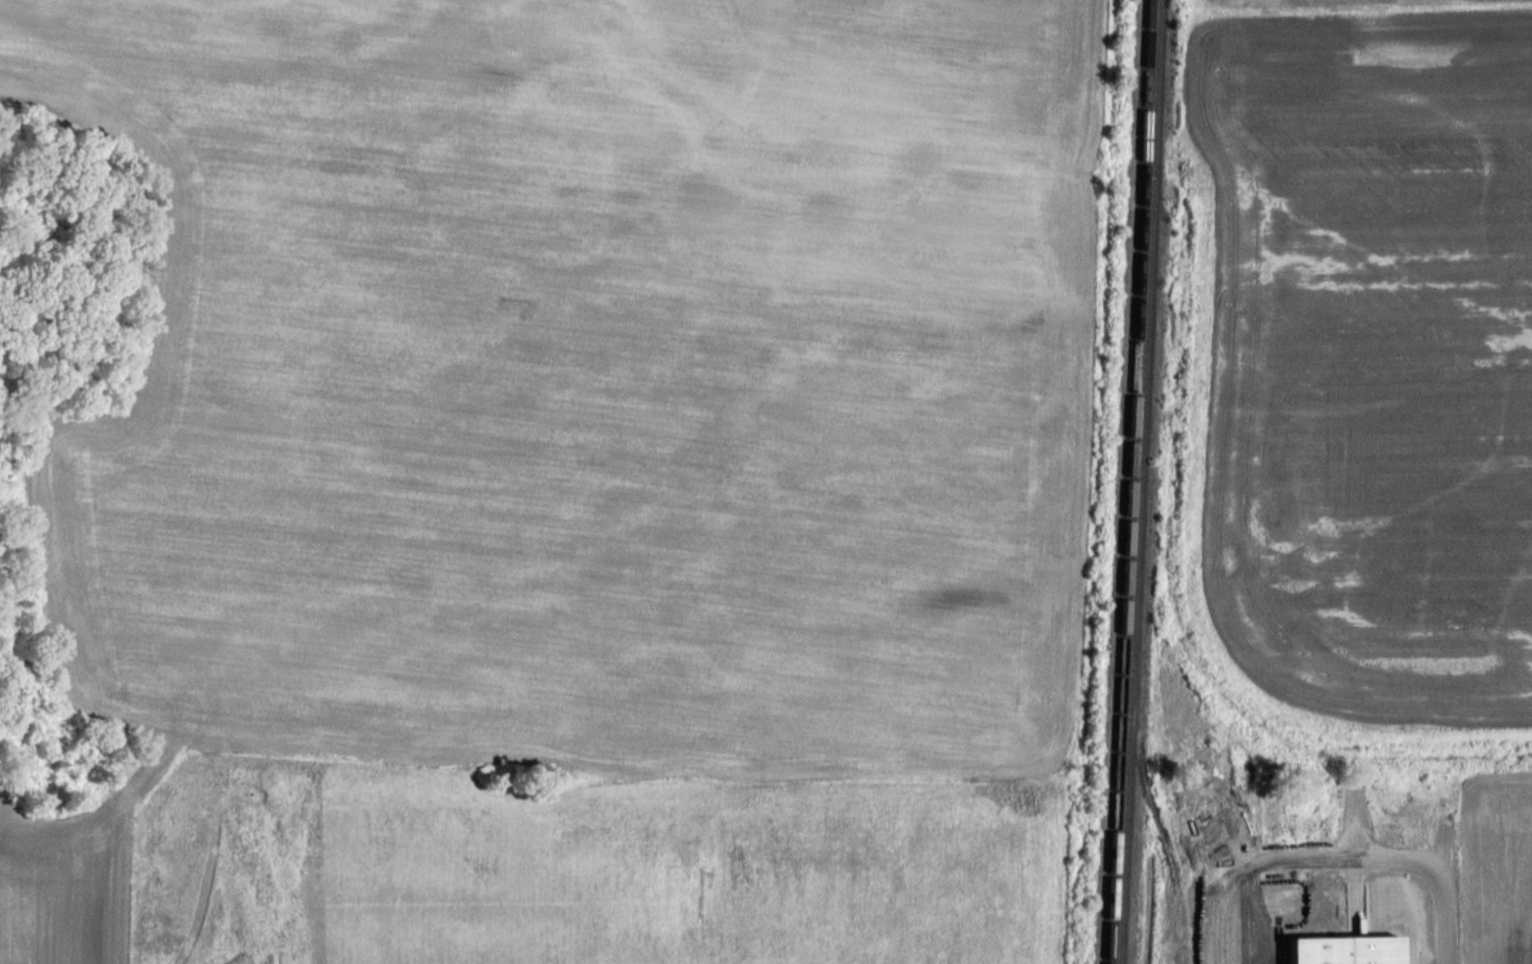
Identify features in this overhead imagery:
railway: (1127, 482)
railway: (1137, 482)
road: (1435, 875)
building: (1340, 950)

